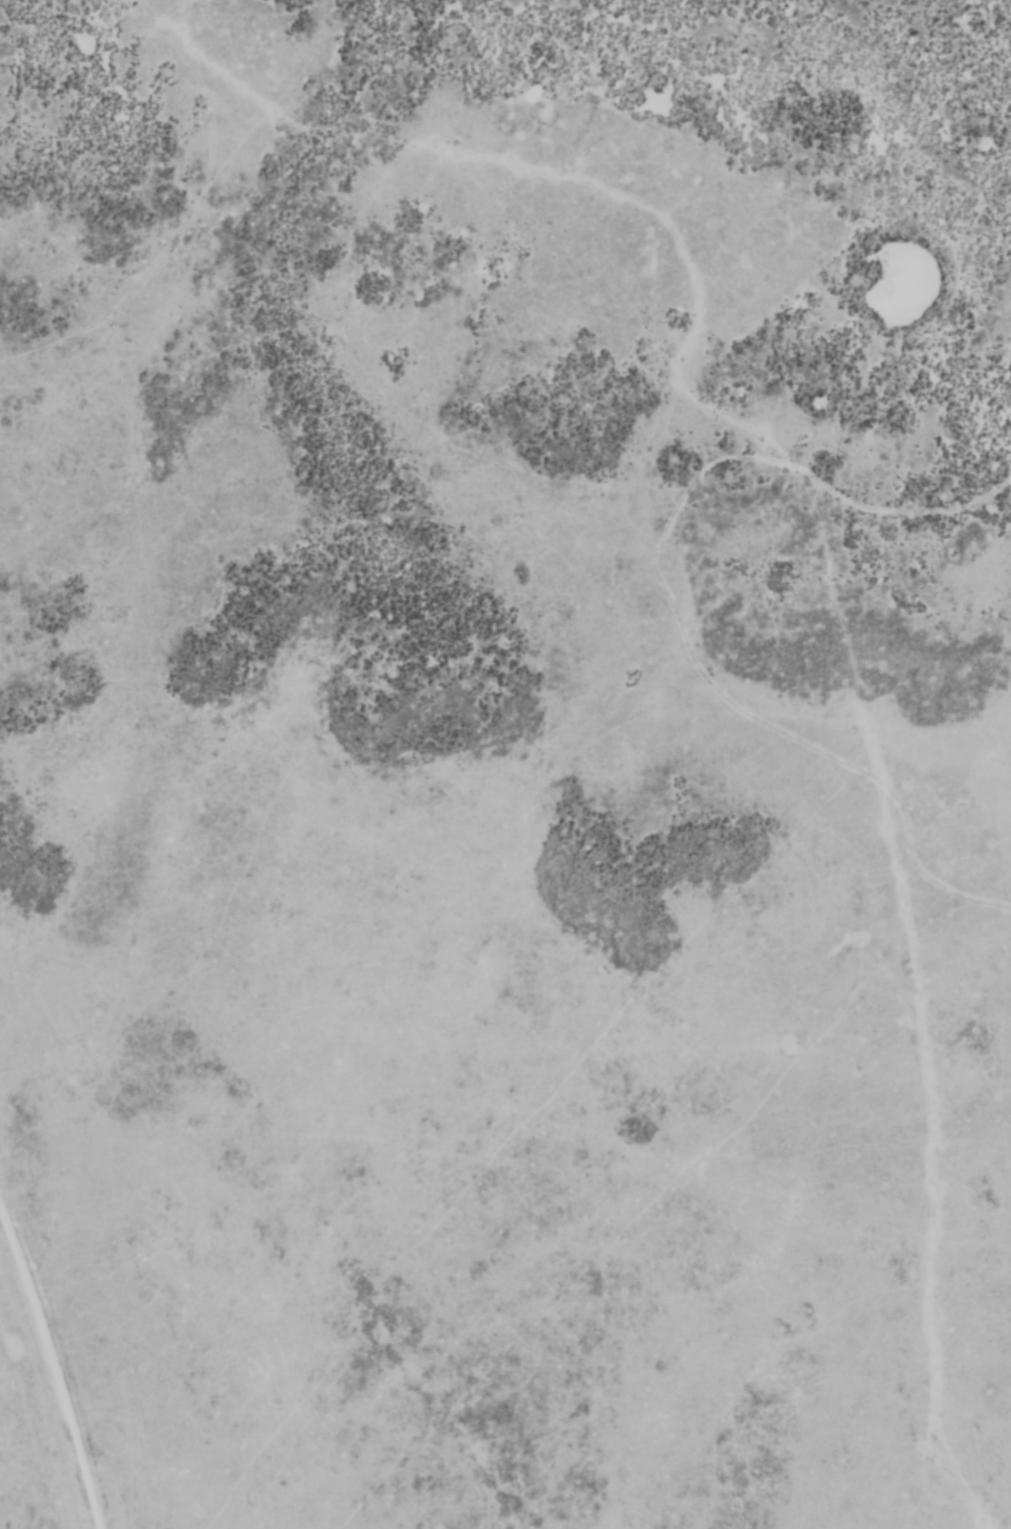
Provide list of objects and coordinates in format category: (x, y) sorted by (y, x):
road: (55, 1364)

